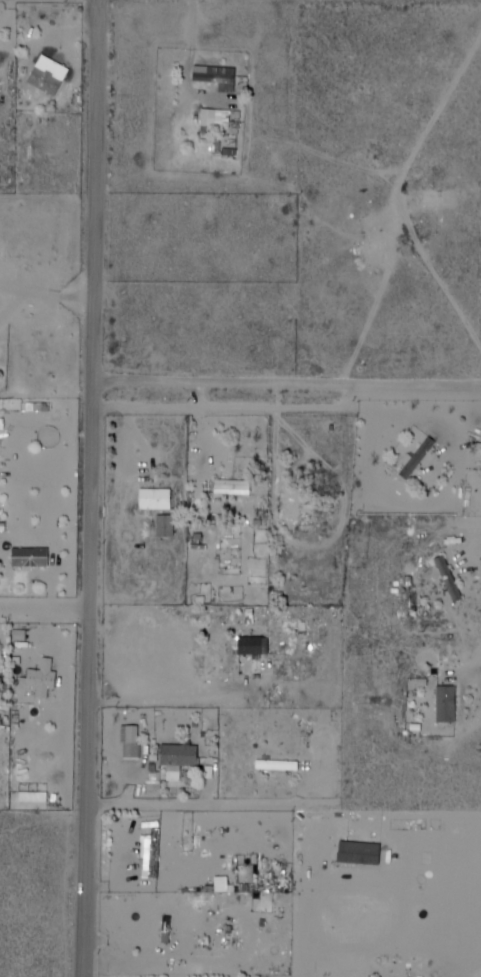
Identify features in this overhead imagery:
building: (0, 56)
building: (52, 74)
building: (220, 79)
building: (212, 118)
road: (292, 385)
road: (233, 410)
building: (424, 457)
building: (236, 486)
road: (101, 488)
building: (157, 499)
building: (295, 503)
building: (34, 559)
building: (445, 579)
building: (453, 580)
road: (48, 611)
building: (259, 646)
building: (47, 676)
building: (452, 703)
building: (125, 733)
building: (182, 758)
building: (280, 765)
building: (156, 854)
building: (163, 929)
building: (170, 929)
road: (188, 969)

